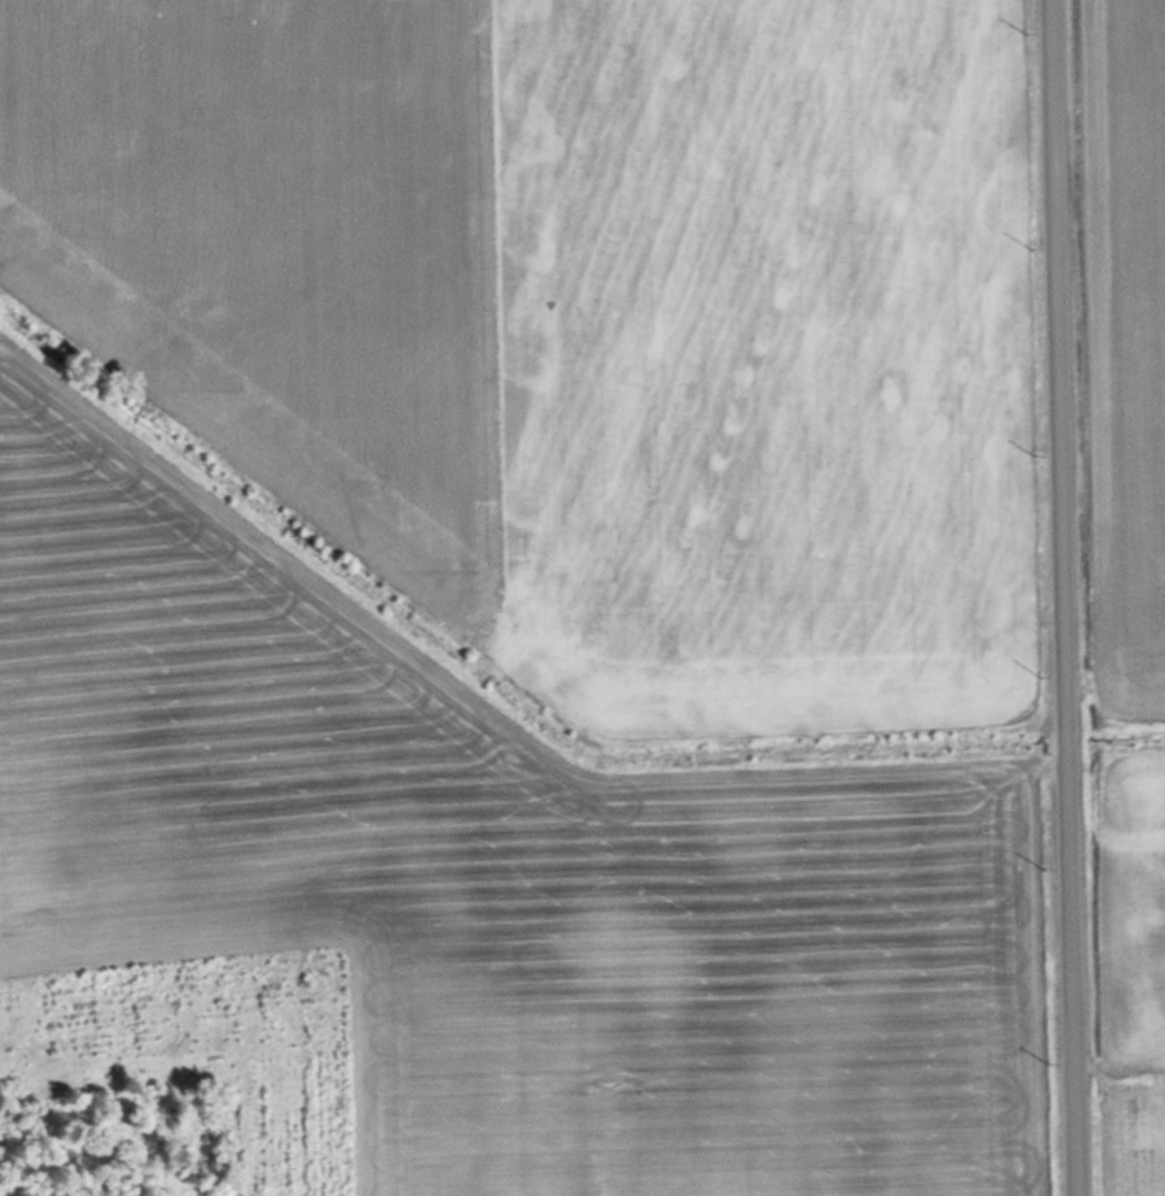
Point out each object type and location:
road: (1059, 597)

